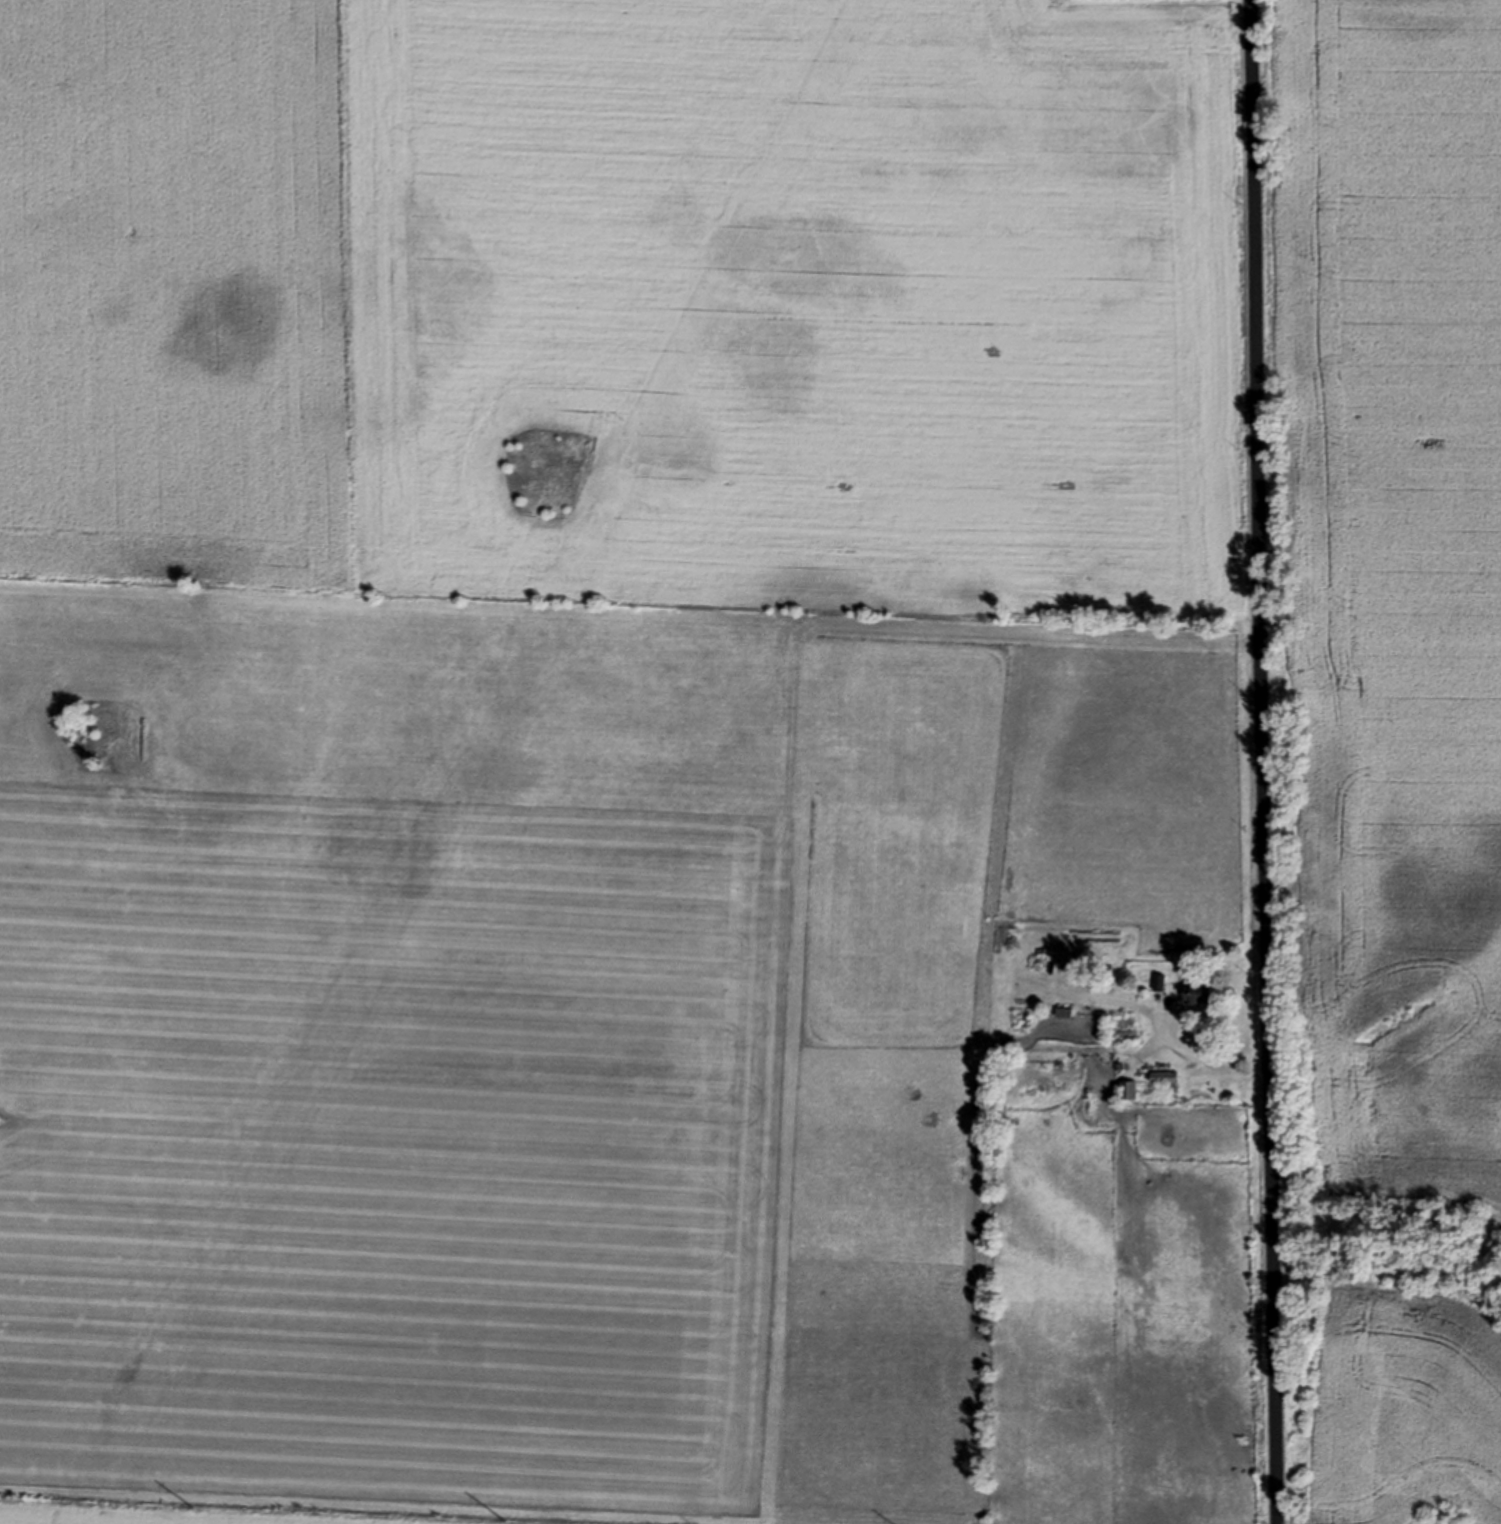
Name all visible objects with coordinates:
road: (1253, 762)
building: (1198, 992)
building: (1165, 1076)
building: (1130, 1089)
power tower: (192, 1505)
power tower: (505, 1519)

